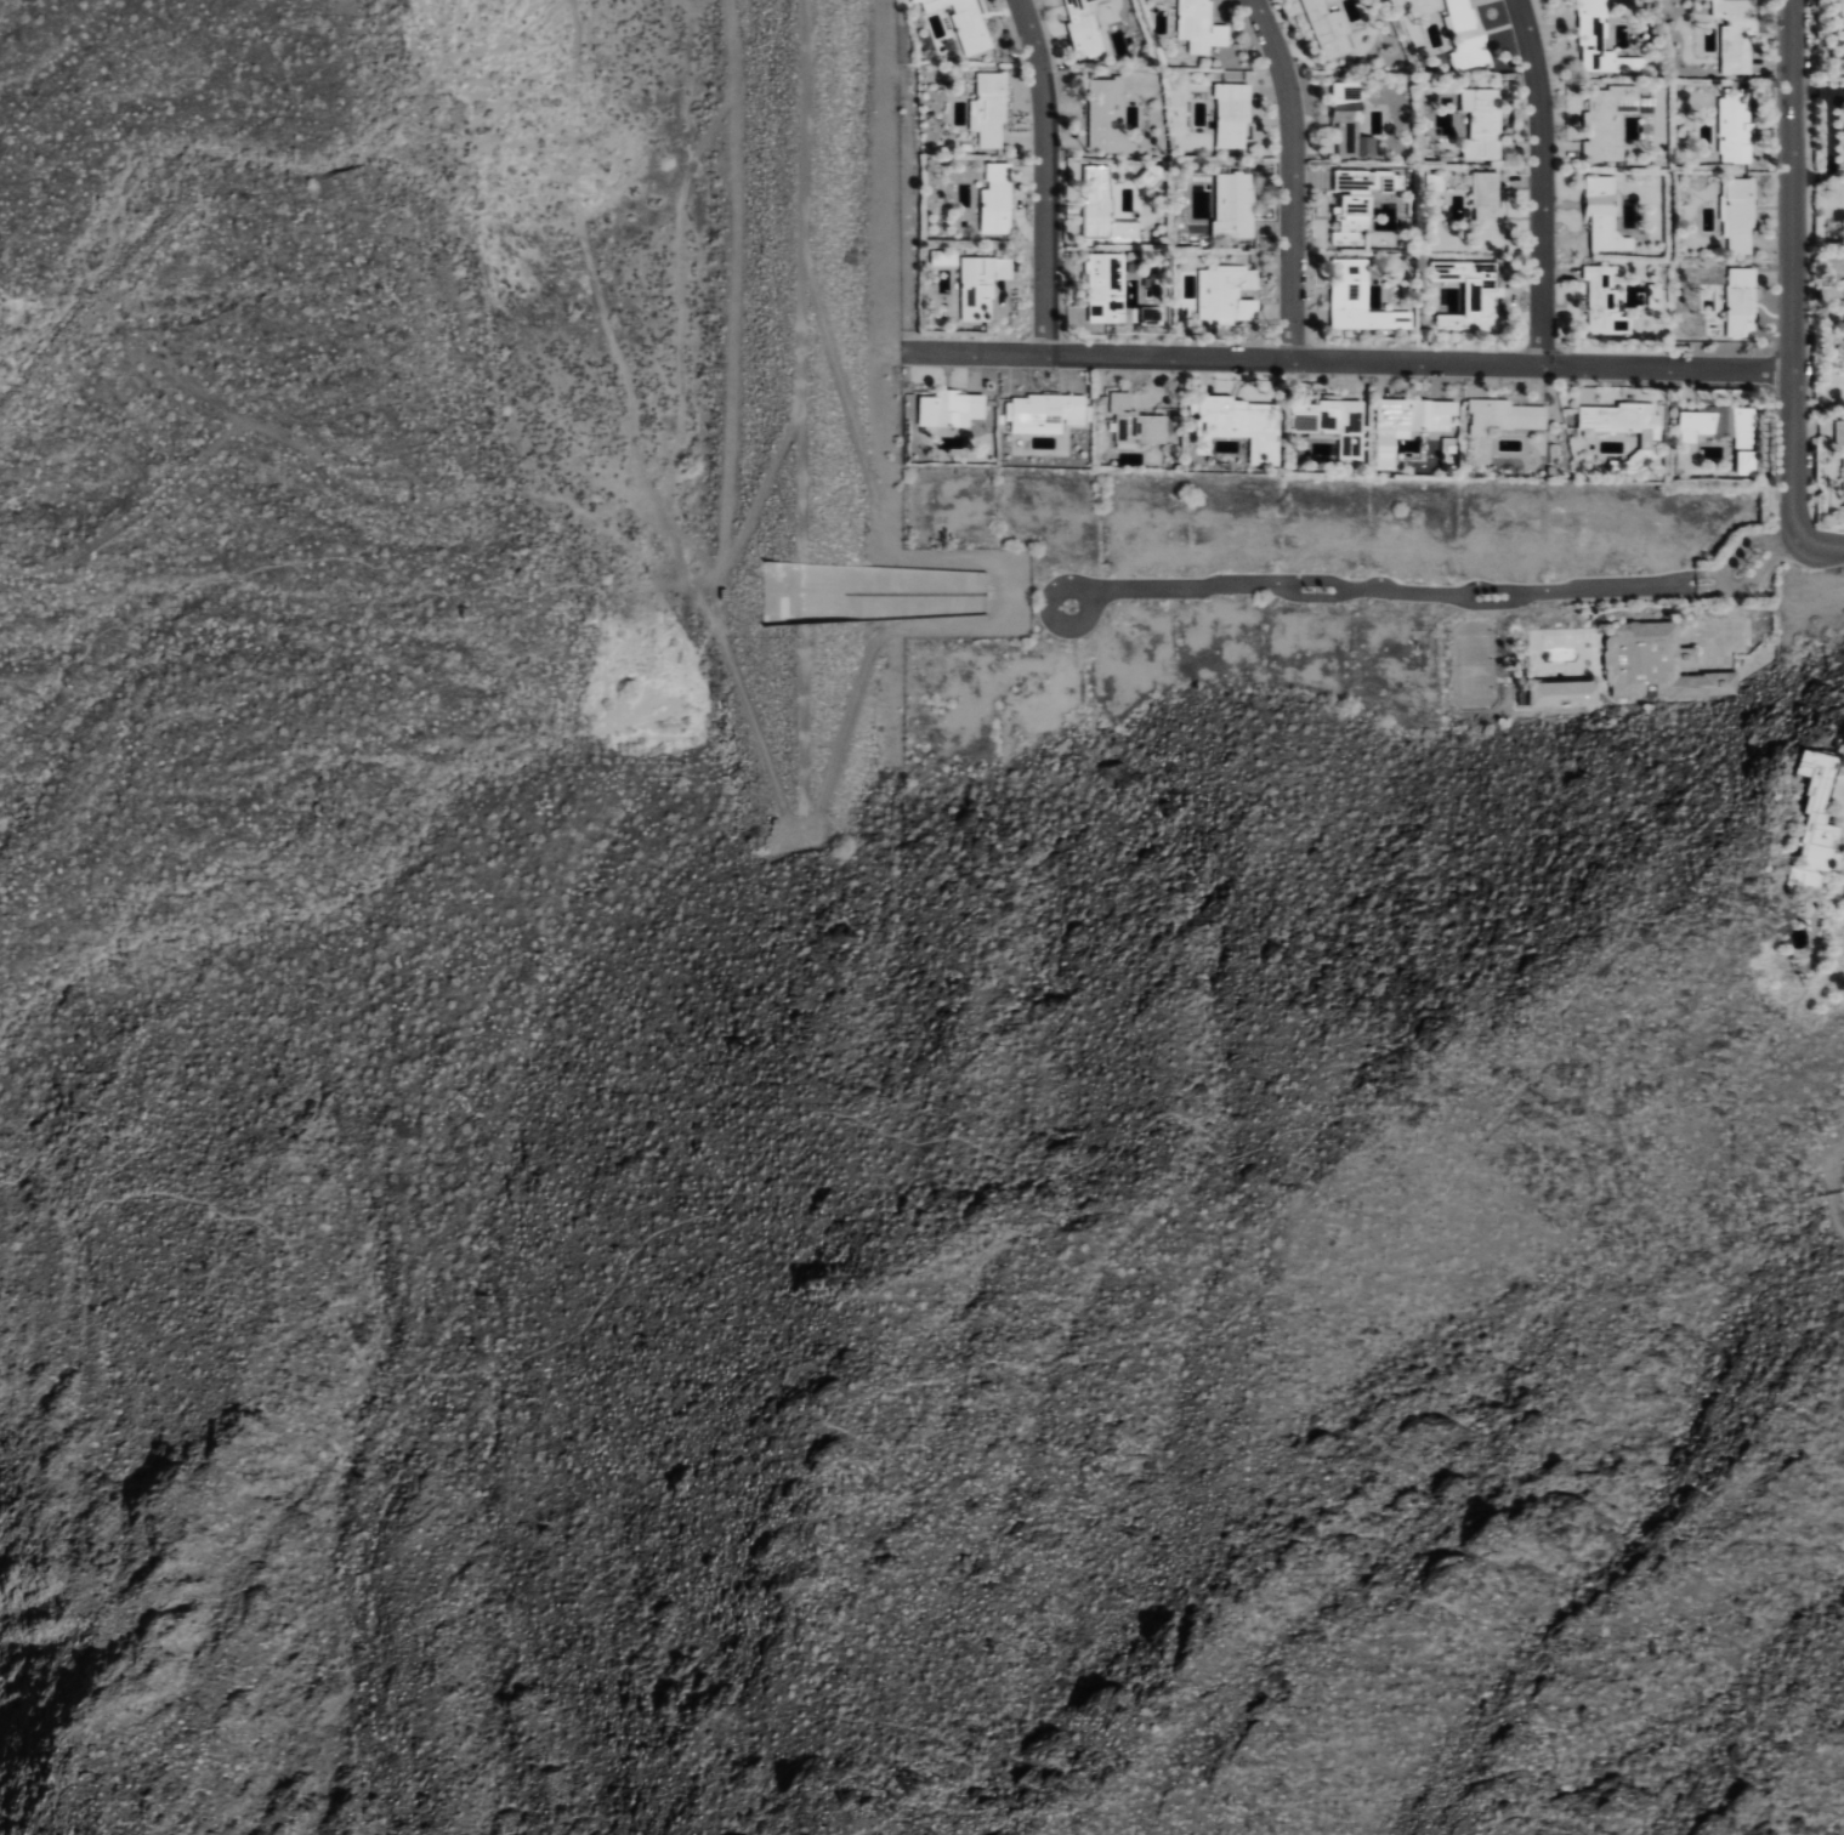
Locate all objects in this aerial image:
building: (965, 22)
building: (1198, 25)
building: (1328, 28)
building: (1736, 33)
building: (1468, 35)
building: (1346, 91)
building: (989, 108)
building: (1233, 114)
building: (1612, 118)
building: (1481, 123)
building: (1736, 126)
building: (1350, 136)
road: (1045, 175)
road: (1292, 176)
road: (1542, 180)
building: (1435, 181)
building: (998, 198)
building: (1357, 200)
building: (1235, 201)
building: (1105, 208)
building: (1604, 212)
building: (1738, 214)
road: (1789, 272)
building: (982, 284)
building: (1106, 286)
building: (1227, 292)
building: (1470, 292)
dam: (796, 294)
building: (1360, 297)
building: (1742, 301)
road: (1352, 359)
building: (952, 407)
building: (1048, 411)
building: (1507, 414)
building: (1136, 421)
building: (1332, 422)
building: (1246, 424)
building: (1408, 424)
building: (1719, 424)
building: (1839, 430)
road: (1819, 545)
road: (208, 580)
road: (1435, 593)
road: (293, 634)
building: (1659, 665)
building: (1565, 693)
dam: (798, 721)
road: (931, 734)
road: (825, 783)
road: (1831, 1188)
road: (561, 1330)
road: (1158, 1342)

